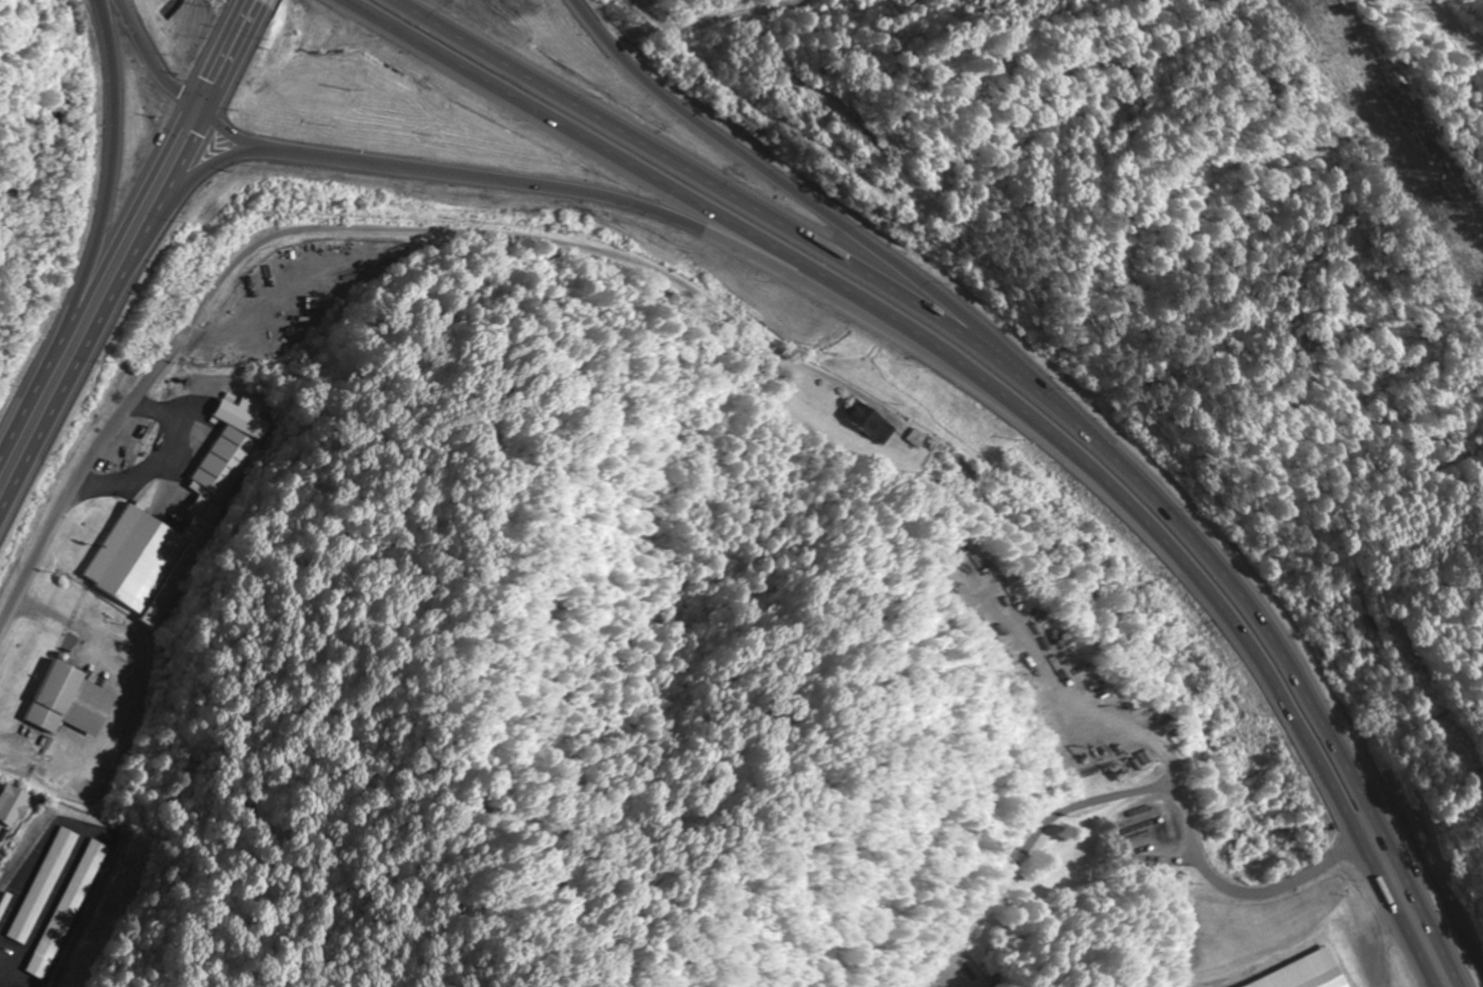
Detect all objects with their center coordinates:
road: (650, 16)
road: (241, 19)
road: (207, 71)
traffic signals: (204, 78)
traffic signals: (179, 96)
road: (183, 98)
road: (215, 99)
traffic signals: (200, 135)
road: (626, 164)
road: (114, 172)
road: (545, 188)
road: (751, 203)
road: (827, 215)
road: (129, 222)
road: (337, 231)
road: (84, 365)
road: (33, 401)
building: (867, 422)
road: (168, 465)
building: (208, 514)
road: (1166, 552)
road: (1251, 609)
building: (74, 701)
road: (1176, 782)
building: (15, 805)
road: (1370, 828)
building: (1, 829)
road: (1424, 903)
road: (1393, 911)
building: (1293, 974)

